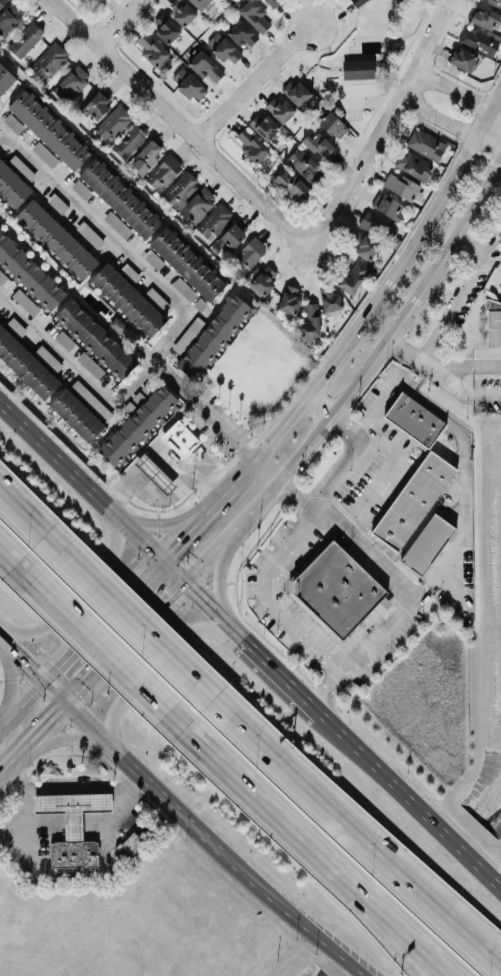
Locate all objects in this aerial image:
building: (98, 1)
building: (2, 2)
building: (272, 2)
building: (358, 2)
building: (493, 2)
building: (200, 3)
building: (182, 11)
building: (255, 14)
building: (483, 16)
building: (8, 21)
road: (118, 21)
building: (166, 28)
building: (243, 33)
building: (26, 39)
building: (478, 40)
building: (224, 48)
building: (155, 52)
building: (463, 58)
building: (49, 59)
building: (206, 67)
building: (358, 68)
building: (5, 78)
road: (254, 80)
building: (72, 82)
building: (189, 84)
road: (452, 88)
building: (297, 92)
road: (494, 95)
building: (97, 105)
building: (280, 109)
road: (494, 110)
road: (436, 117)
road: (480, 121)
building: (13, 123)
building: (114, 123)
road: (184, 123)
building: (333, 124)
road: (383, 125)
building: (264, 126)
building: (49, 129)
building: (129, 140)
road: (487, 142)
building: (426, 143)
building: (251, 144)
building: (320, 145)
building: (45, 154)
building: (146, 157)
building: (304, 163)
building: (414, 164)
building: (164, 172)
building: (291, 183)
building: (12, 185)
building: (401, 185)
building: (181, 187)
building: (81, 189)
building: (120, 198)
building: (57, 202)
building: (198, 204)
building: (387, 205)
building: (215, 220)
building: (117, 224)
building: (378, 224)
building: (89, 234)
building: (232, 234)
building: (57, 238)
road: (116, 241)
building: (364, 244)
building: (251, 252)
building: (153, 258)
building: (187, 263)
building: (29, 273)
building: (354, 276)
building: (2, 277)
building: (262, 283)
building: (184, 288)
road: (462, 289)
building: (157, 298)
building: (128, 299)
building: (290, 299)
building: (330, 299)
building: (25, 301)
road: (362, 315)
building: (311, 319)
building: (495, 328)
building: (188, 334)
building: (213, 335)
building: (96, 338)
building: (65, 339)
road: (381, 348)
road: (410, 351)
building: (49, 357)
building: (26, 364)
building: (90, 364)
road: (77, 367)
road: (434, 368)
road: (175, 378)
building: (92, 399)
road: (316, 406)
building: (77, 414)
building: (414, 419)
building: (137, 423)
road: (223, 426)
building: (180, 437)
road: (461, 450)
road: (344, 456)
building: (155, 473)
road: (184, 474)
road: (157, 475)
road: (145, 483)
road: (161, 496)
building: (413, 500)
road: (191, 516)
road: (24, 522)
road: (154, 522)
building: (427, 543)
road: (366, 546)
road: (209, 552)
traffic signals: (153, 554)
road: (14, 555)
road: (220, 580)
traffic signals: (182, 581)
road: (81, 590)
building: (338, 590)
road: (270, 596)
road: (127, 624)
road: (7, 630)
road: (131, 633)
road: (75, 634)
road: (376, 634)
road: (248, 646)
road: (108, 647)
road: (18, 656)
road: (157, 662)
traffic signals: (37, 675)
road: (10, 680)
traffic signals: (64, 703)
road: (40, 728)
road: (62, 739)
road: (73, 788)
road: (259, 795)
road: (117, 813)
road: (73, 823)
building: (73, 826)
road: (32, 830)
road: (200, 830)
road: (356, 830)
building: (130, 845)
road: (448, 906)
road: (374, 920)
road: (392, 920)

